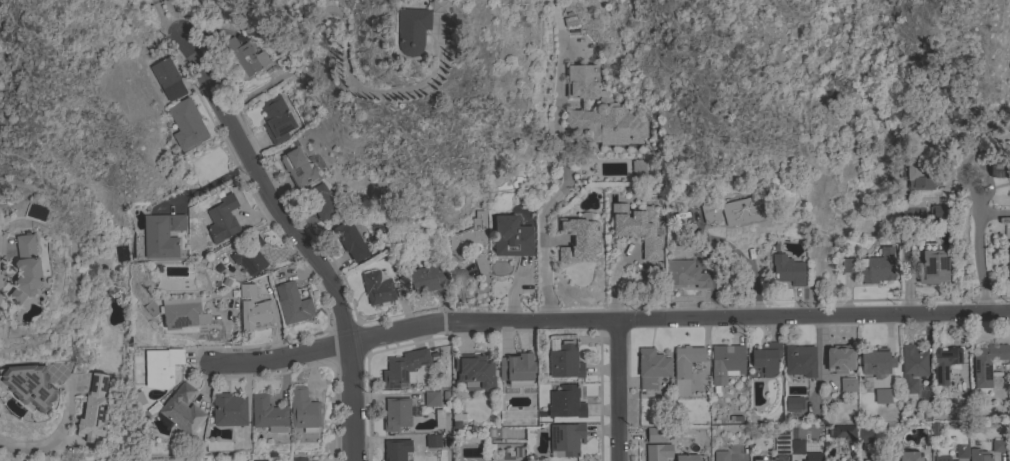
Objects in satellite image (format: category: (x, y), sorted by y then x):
road: (167, 18)
building: (414, 27)
road: (338, 29)
building: (243, 57)
building: (1009, 62)
building: (168, 78)
building: (600, 111)
building: (276, 119)
building: (186, 123)
road: (964, 162)
building: (297, 166)
building: (638, 167)
building: (1000, 167)
building: (915, 174)
road: (566, 177)
building: (320, 201)
building: (734, 210)
building: (939, 213)
building: (222, 219)
building: (638, 229)
building: (469, 231)
road: (0, 235)
building: (161, 235)
building: (511, 236)
road: (977, 237)
building: (349, 239)
building: (578, 239)
road: (296, 242)
building: (1009, 248)
building: (249, 254)
road: (904, 261)
road: (746, 263)
building: (481, 264)
building: (848, 264)
building: (932, 265)
building: (876, 266)
building: (25, 269)
building: (787, 269)
road: (466, 270)
building: (1008, 272)
building: (685, 274)
building: (427, 278)
building: (376, 287)
building: (246, 290)
road: (459, 292)
road: (984, 301)
building: (292, 303)
building: (183, 313)
building: (256, 313)
road: (608, 321)
building: (765, 357)
building: (839, 358)
building: (799, 360)
building: (564, 361)
building: (726, 362)
building: (875, 362)
building: (944, 363)
building: (987, 363)
building: (161, 366)
building: (684, 366)
building: (912, 366)
building: (402, 367)
building: (651, 367)
building: (516, 369)
building: (474, 370)
building: (847, 384)
building: (22, 389)
road: (617, 391)
building: (881, 395)
building: (431, 398)
building: (565, 402)
building: (793, 403)
building: (93, 408)
building: (182, 409)
building: (228, 409)
building: (303, 410)
building: (396, 413)
building: (267, 414)
building: (438, 419)
building: (1007, 425)
road: (61, 431)
building: (842, 431)
building: (650, 432)
building: (865, 434)
building: (565, 439)
building: (432, 440)
building: (781, 442)
building: (998, 445)
building: (797, 446)
building: (396, 449)
building: (961, 450)
building: (653, 453)
building: (721, 455)
building: (979, 455)
building: (684, 456)
building: (812, 456)
building: (909, 456)
building: (942, 458)
building: (298, 459)
building: (259, 460)
building: (757, 460)
building: (869, 460)

